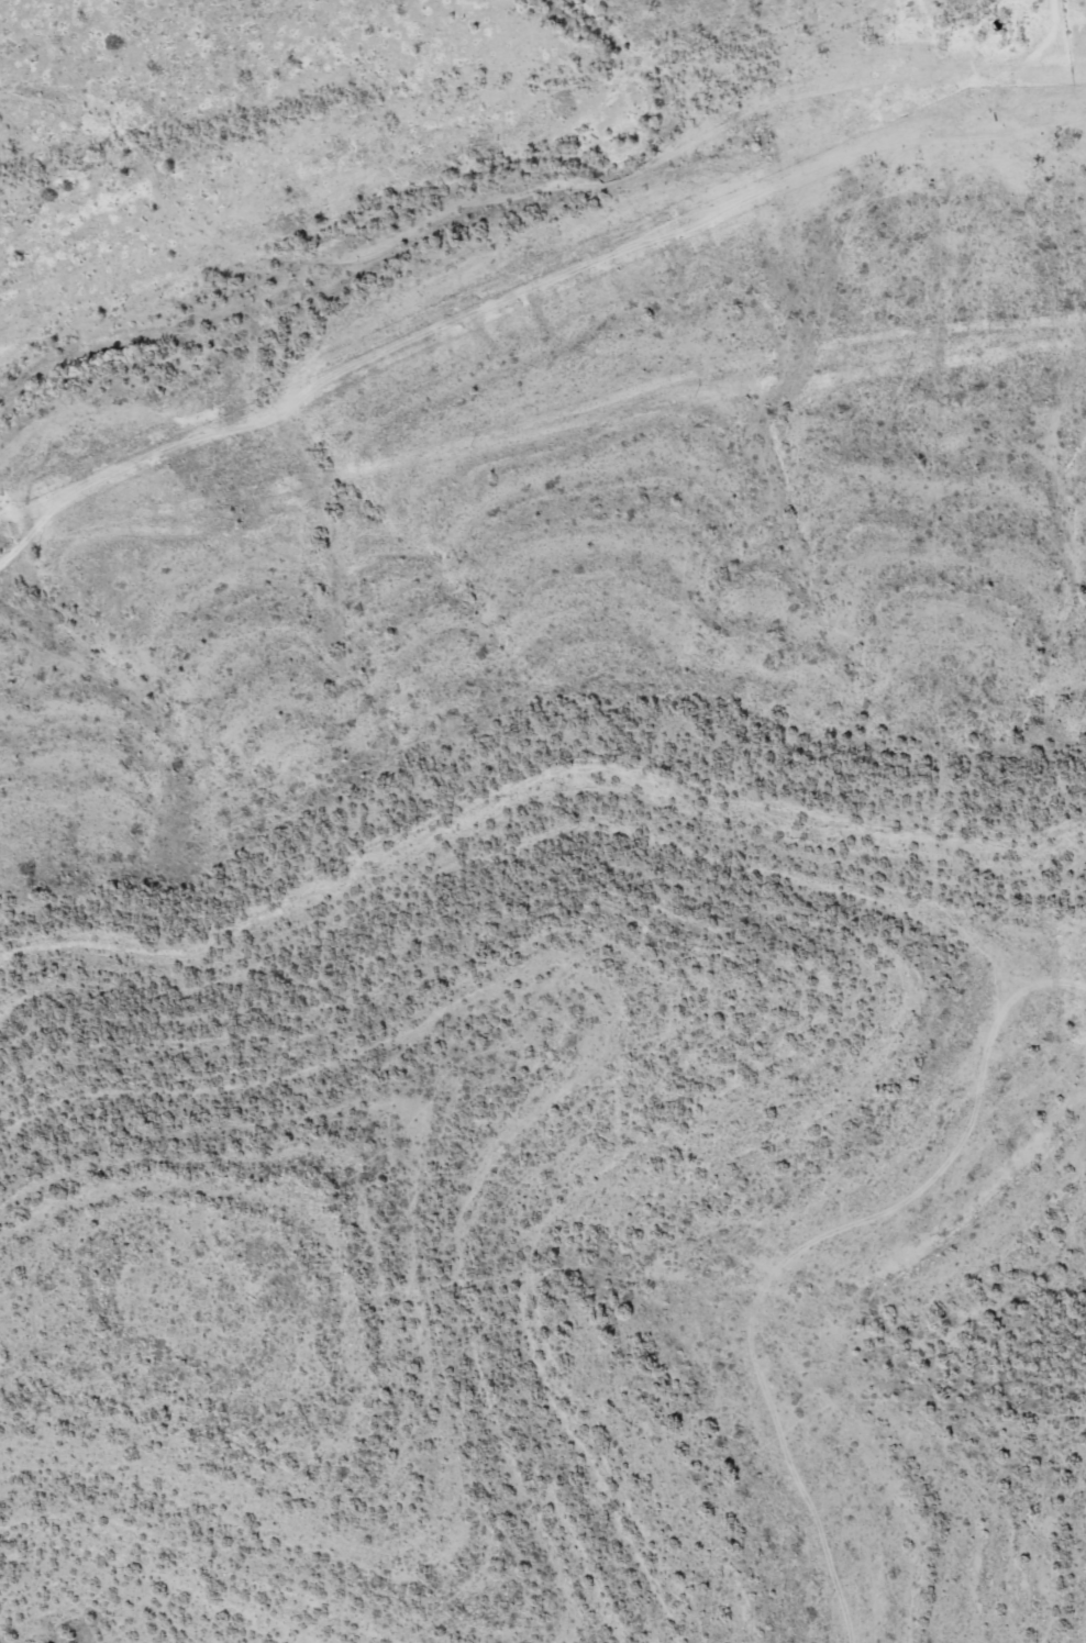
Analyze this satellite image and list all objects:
road: (501, 207)

